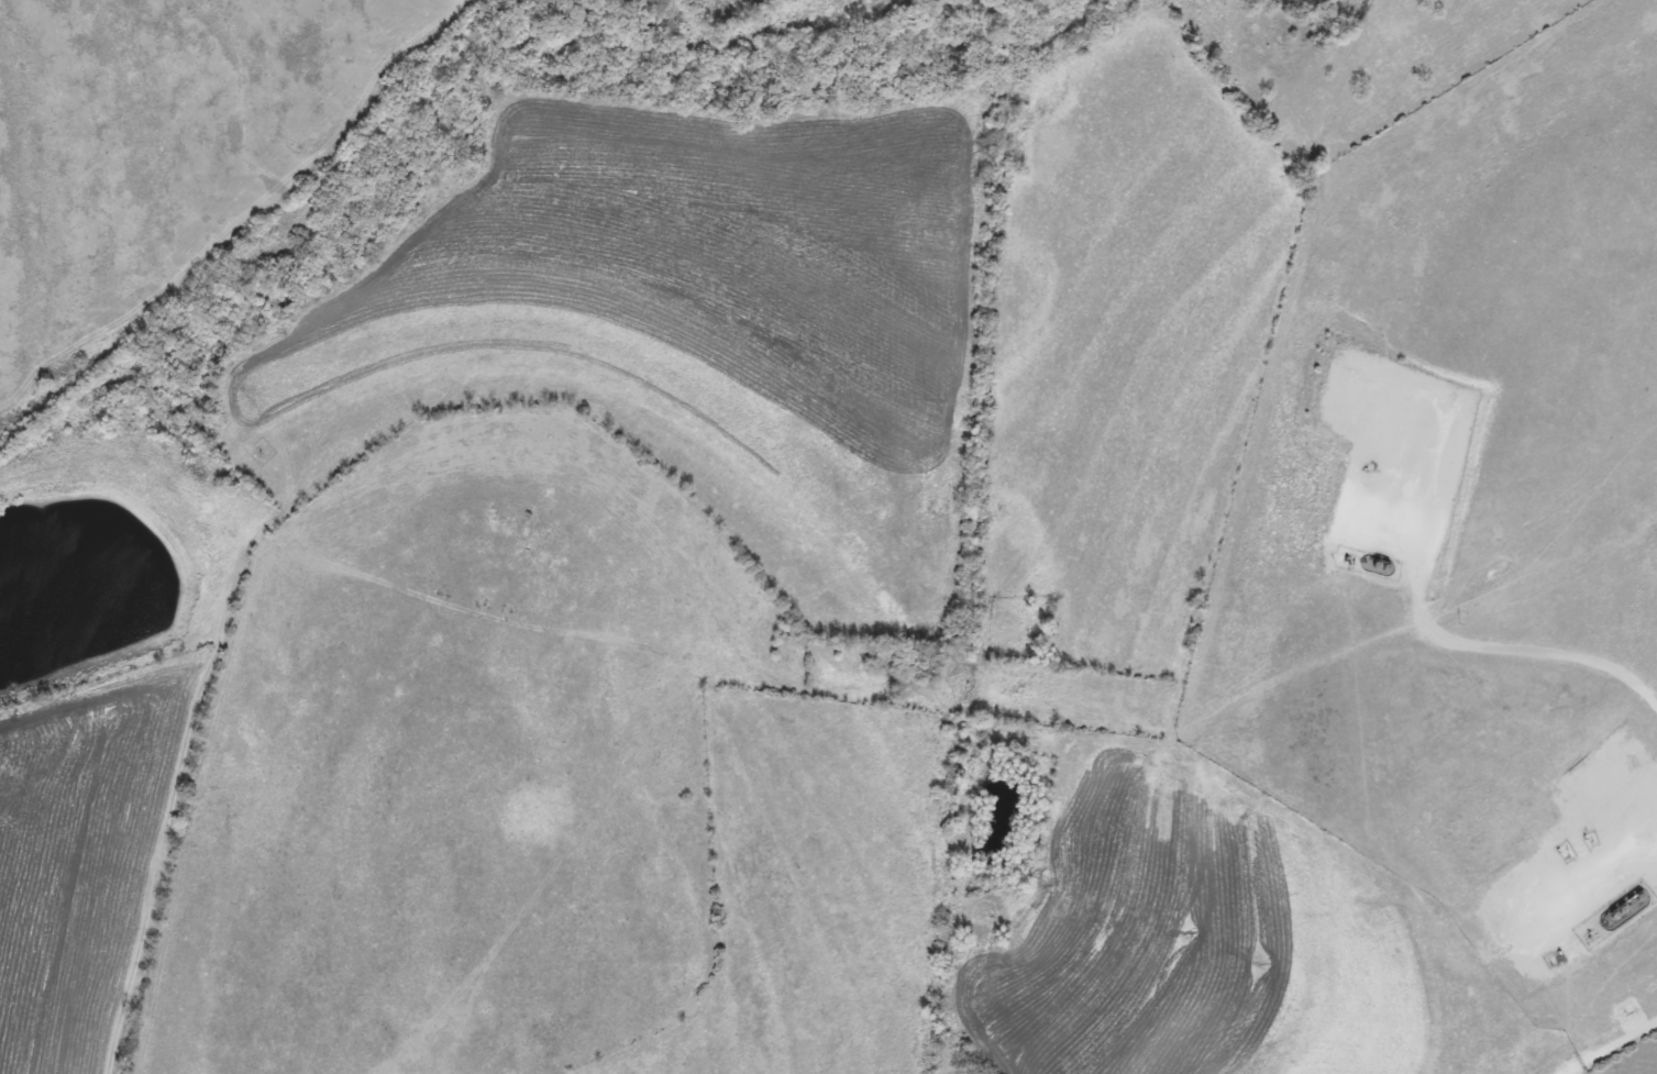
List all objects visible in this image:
road: (1512, 649)
road: (1606, 1044)

